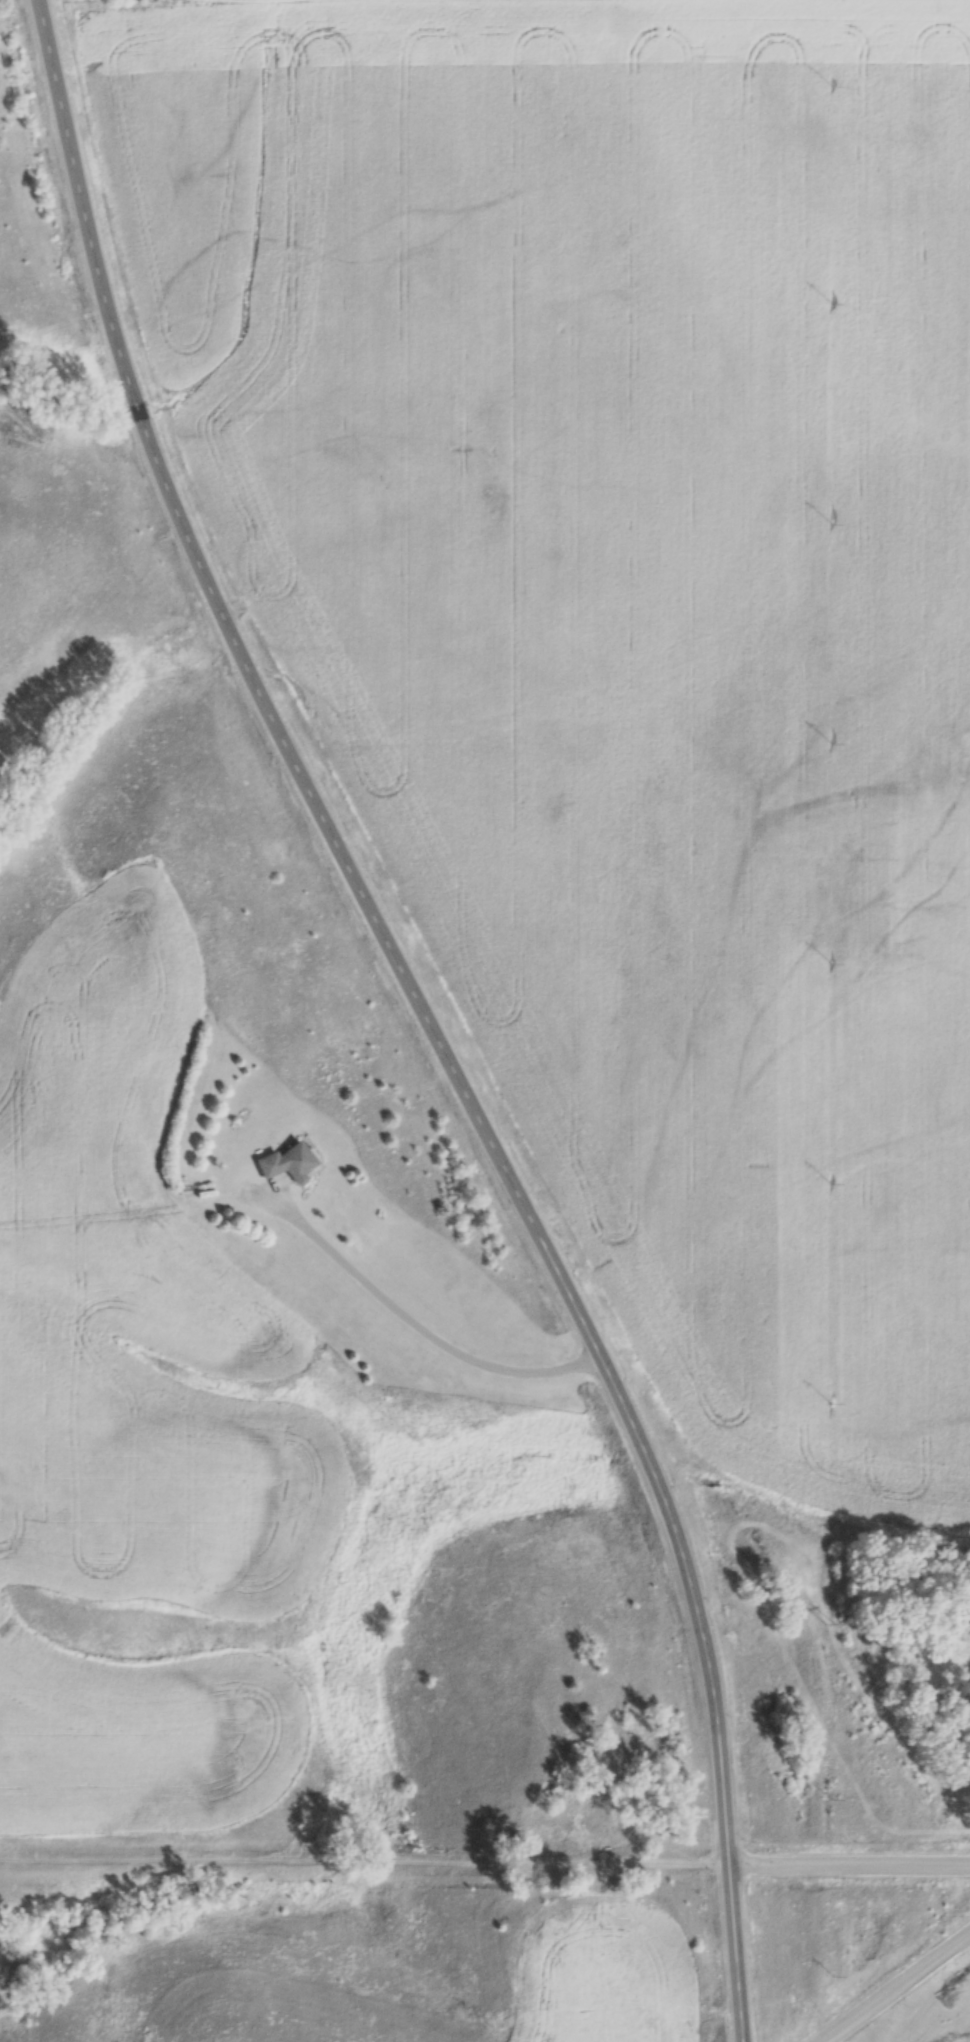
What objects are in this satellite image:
road: (425, 1014)
building: (283, 1161)
road: (415, 1323)
power tower: (834, 1622)
road: (484, 1869)
road: (888, 1982)

